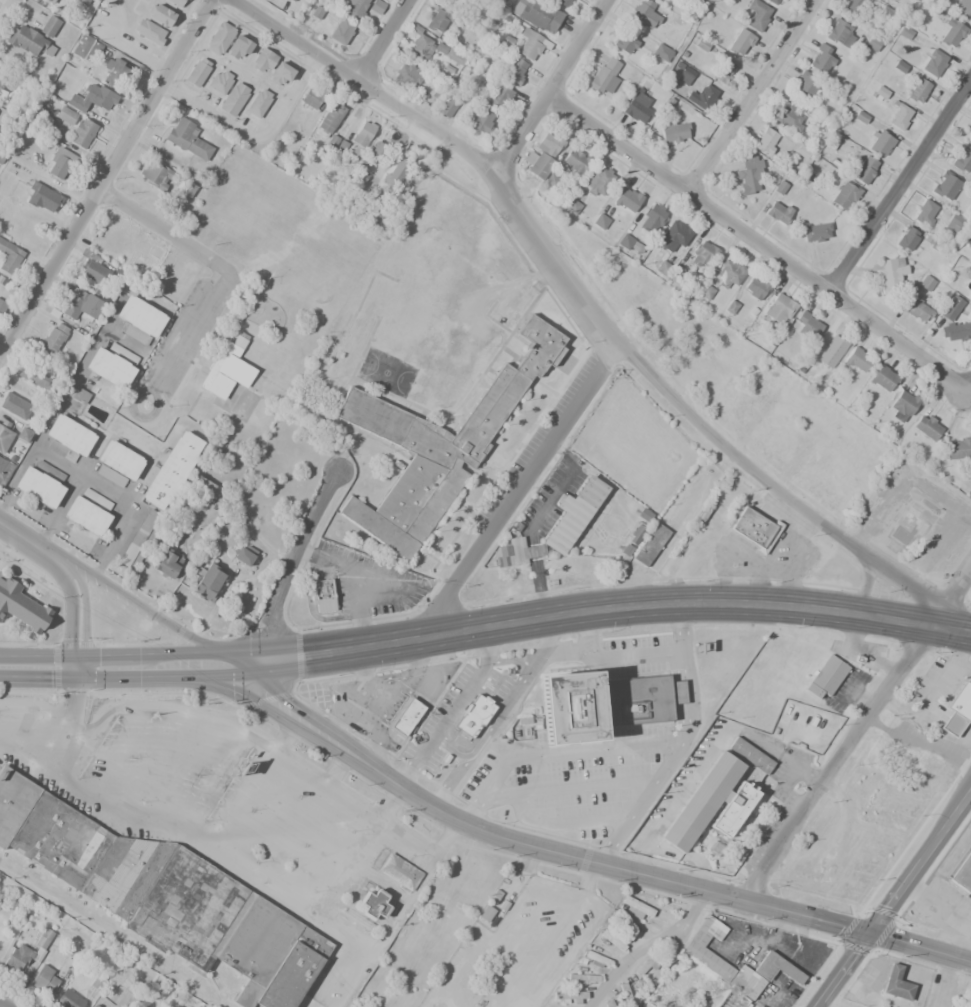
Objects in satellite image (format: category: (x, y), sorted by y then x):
building: (46, 0)
building: (292, 0)
building: (667, 1)
building: (773, 1)
building: (82, 2)
building: (177, 2)
building: (455, 2)
building: (561, 3)
building: (853, 6)
building: (376, 7)
building: (355, 8)
building: (963, 9)
building: (643, 13)
building: (757, 14)
building: (162, 15)
building: (539, 16)
building: (436, 20)
building: (49, 26)
building: (150, 31)
building: (341, 31)
building: (951, 33)
building: (840, 34)
building: (220, 39)
road: (381, 39)
building: (29, 41)
building: (624, 43)
building: (740, 43)
building: (531, 44)
building: (872, 44)
building: (86, 47)
building: (238, 47)
building: (421, 47)
building: (661, 53)
building: (453, 56)
building: (820, 59)
building: (263, 60)
building: (934, 62)
building: (514, 70)
building: (114, 72)
building: (198, 72)
building: (724, 72)
building: (280, 73)
building: (407, 74)
building: (685, 75)
building: (604, 76)
building: (220, 81)
building: (4, 85)
building: (803, 87)
road: (552, 88)
building: (918, 90)
building: (431, 93)
building: (880, 93)
road: (748, 95)
building: (311, 97)
building: (702, 97)
building: (498, 98)
building: (93, 99)
building: (234, 99)
building: (259, 103)
building: (637, 107)
building: (450, 108)
building: (66, 115)
building: (789, 117)
building: (900, 117)
building: (330, 118)
building: (481, 121)
building: (819, 127)
building: (1, 131)
building: (674, 131)
building: (82, 133)
building: (969, 135)
building: (187, 138)
building: (361, 138)
building: (766, 141)
building: (879, 141)
building: (379, 151)
building: (543, 155)
building: (962, 158)
building: (576, 161)
building: (58, 162)
building: (864, 170)
building: (398, 171)
building: (155, 174)
building: (748, 174)
road: (104, 175)
road: (897, 180)
building: (598, 181)
building: (945, 185)
building: (779, 188)
building: (844, 196)
building: (42, 198)
building: (626, 198)
building: (377, 207)
building: (571, 207)
building: (778, 212)
building: (925, 213)
building: (652, 218)
building: (600, 221)
building: (953, 222)
road: (160, 228)
building: (816, 232)
building: (674, 237)
building: (906, 238)
building: (625, 241)
road: (758, 242)
building: (969, 243)
building: (110, 245)
building: (702, 255)
building: (9, 257)
building: (138, 261)
building: (94, 271)
building: (729, 272)
building: (890, 273)
building: (925, 283)
building: (756, 288)
building: (705, 292)
park: (244, 300)
building: (82, 303)
road: (585, 306)
building: (2, 307)
building: (779, 308)
building: (950, 308)
building: (918, 311)
building: (138, 320)
building: (807, 325)
building: (956, 331)
building: (54, 338)
building: (235, 345)
building: (830, 346)
building: (858, 361)
building: (112, 364)
road: (168, 366)
building: (225, 375)
building: (34, 377)
building: (884, 379)
building: (80, 395)
building: (14, 403)
building: (902, 405)
building: (925, 429)
building: (67, 437)
building: (11, 438)
building: (437, 447)
building: (958, 447)
building: (118, 463)
building: (173, 468)
building: (4, 471)
road: (87, 480)
building: (40, 484)
road: (515, 490)
road: (58, 511)
building: (88, 513)
building: (573, 514)
building: (645, 515)
building: (905, 527)
building: (755, 528)
building: (636, 534)
building: (139, 540)
building: (195, 540)
building: (650, 544)
building: (626, 550)
building: (503, 551)
building: (521, 551)
building: (241, 555)
building: (501, 561)
building: (168, 562)
road: (291, 566)
building: (208, 580)
building: (322, 589)
road: (115, 594)
road: (950, 594)
road: (74, 595)
building: (324, 605)
building: (22, 606)
road: (600, 609)
road: (567, 651)
road: (632, 657)
road: (116, 668)
building: (826, 677)
building: (602, 704)
building: (958, 709)
road: (452, 710)
building: (407, 717)
building: (473, 717)
road: (687, 727)
road: (481, 748)
road: (836, 760)
road: (550, 791)
building: (717, 796)
road: (527, 845)
road: (609, 847)
road: (917, 859)
building: (399, 872)
building: (962, 874)
building: (163, 895)
building: (373, 904)
building: (636, 907)
building: (43, 938)
building: (612, 940)
road: (918, 947)
building: (703, 956)
building: (20, 959)
building: (595, 959)
building: (649, 965)
road: (837, 969)
building: (582, 977)
building: (45, 979)
building: (896, 983)
building: (625, 994)
building: (570, 997)
building: (69, 999)
building: (125, 999)
building: (733, 1000)
road: (2, 1005)
building: (611, 1005)

